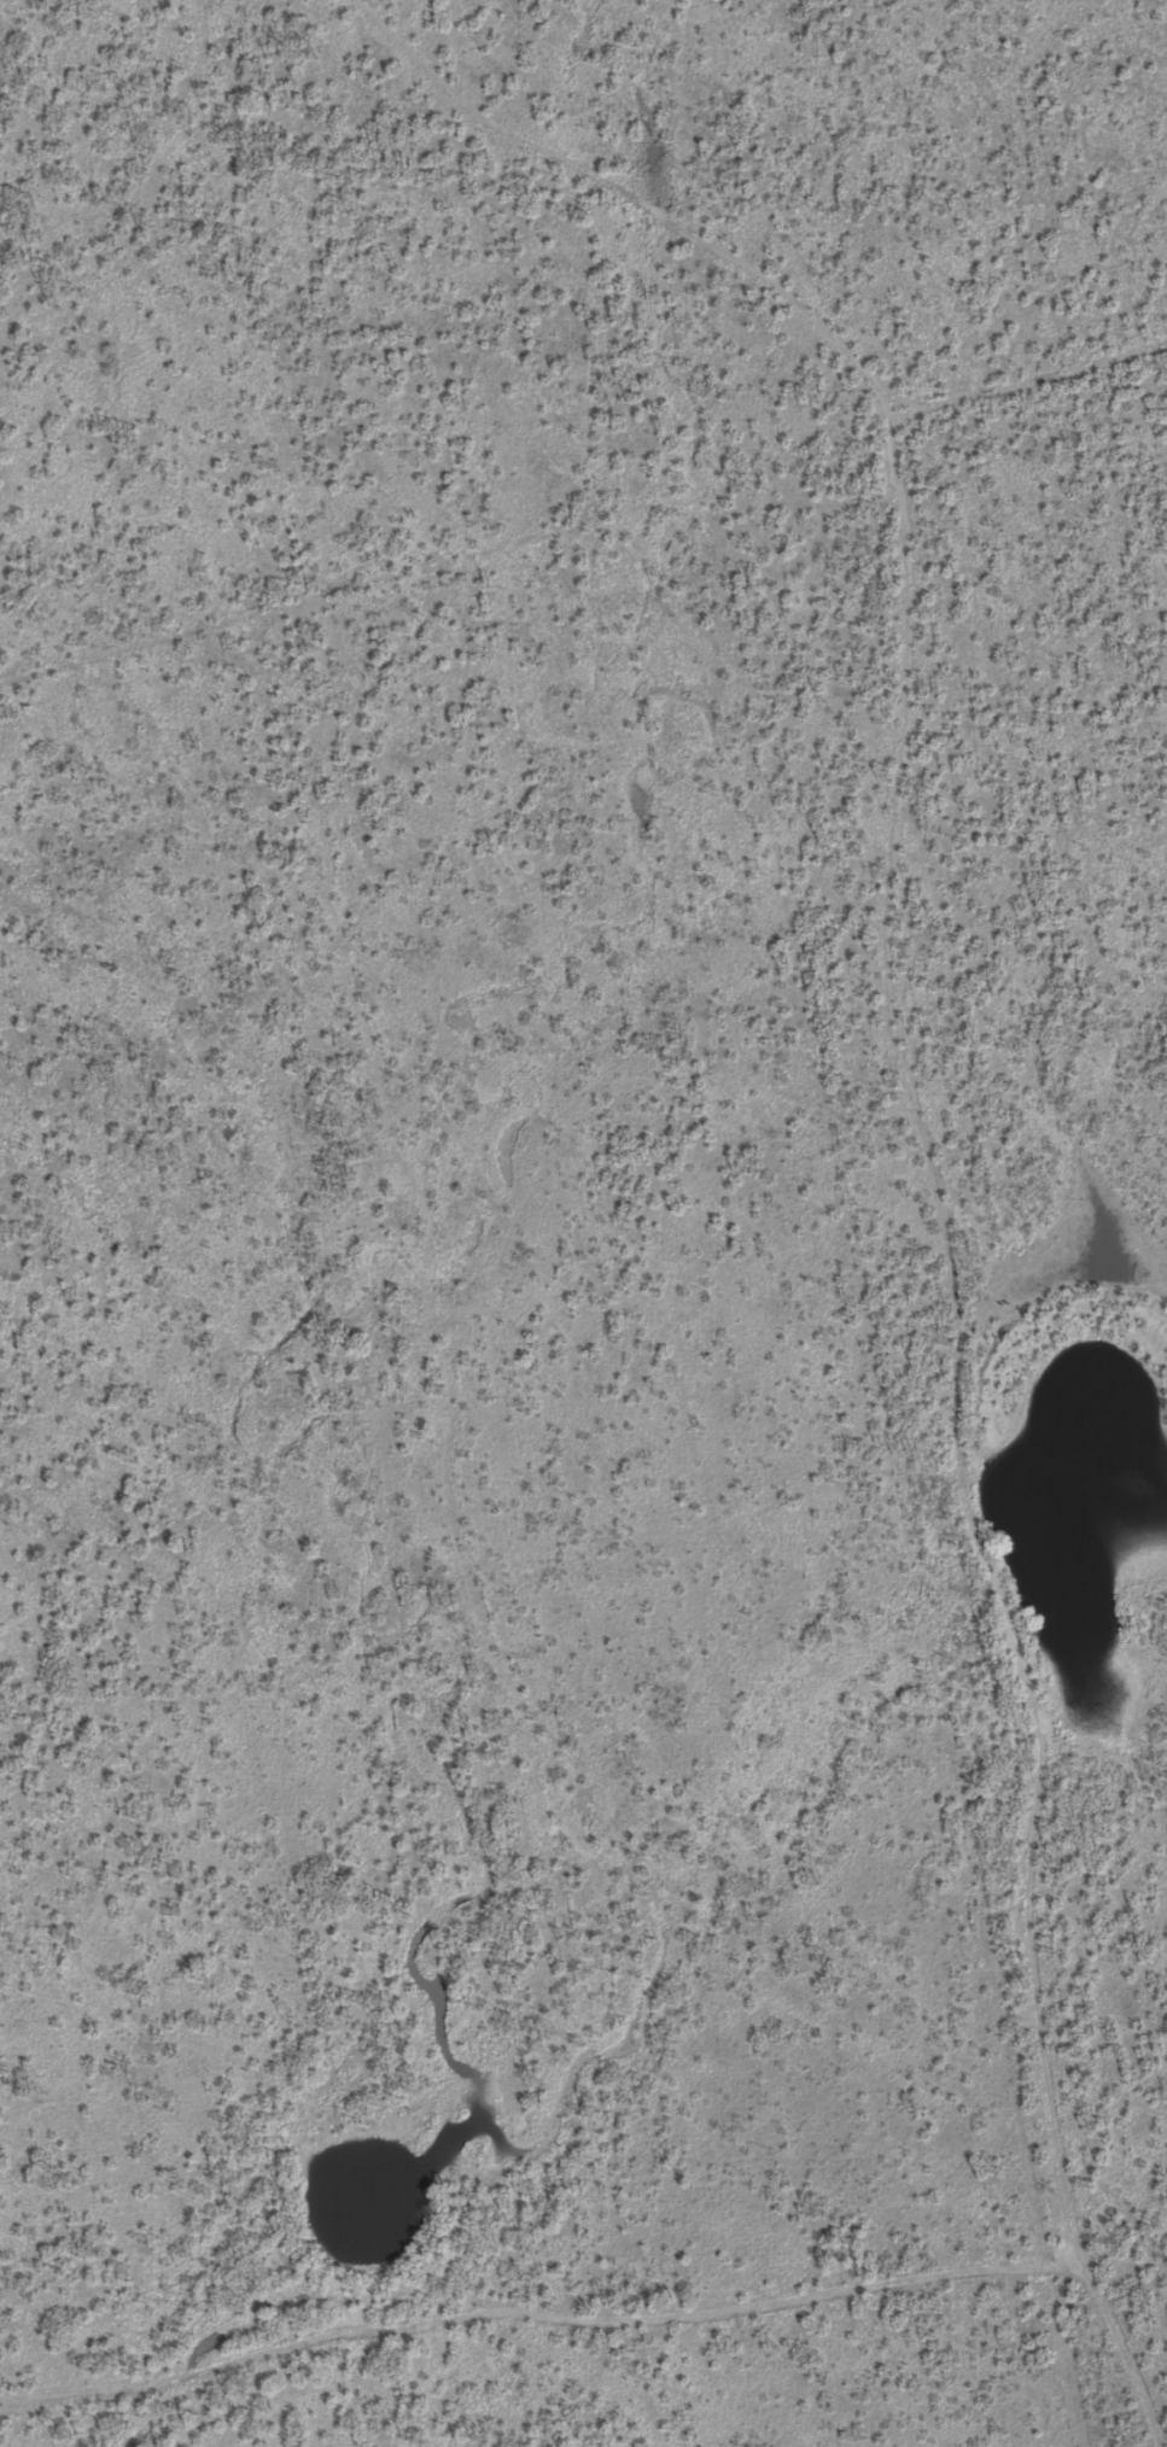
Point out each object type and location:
road: (910, 1087)
road: (790, 2280)

